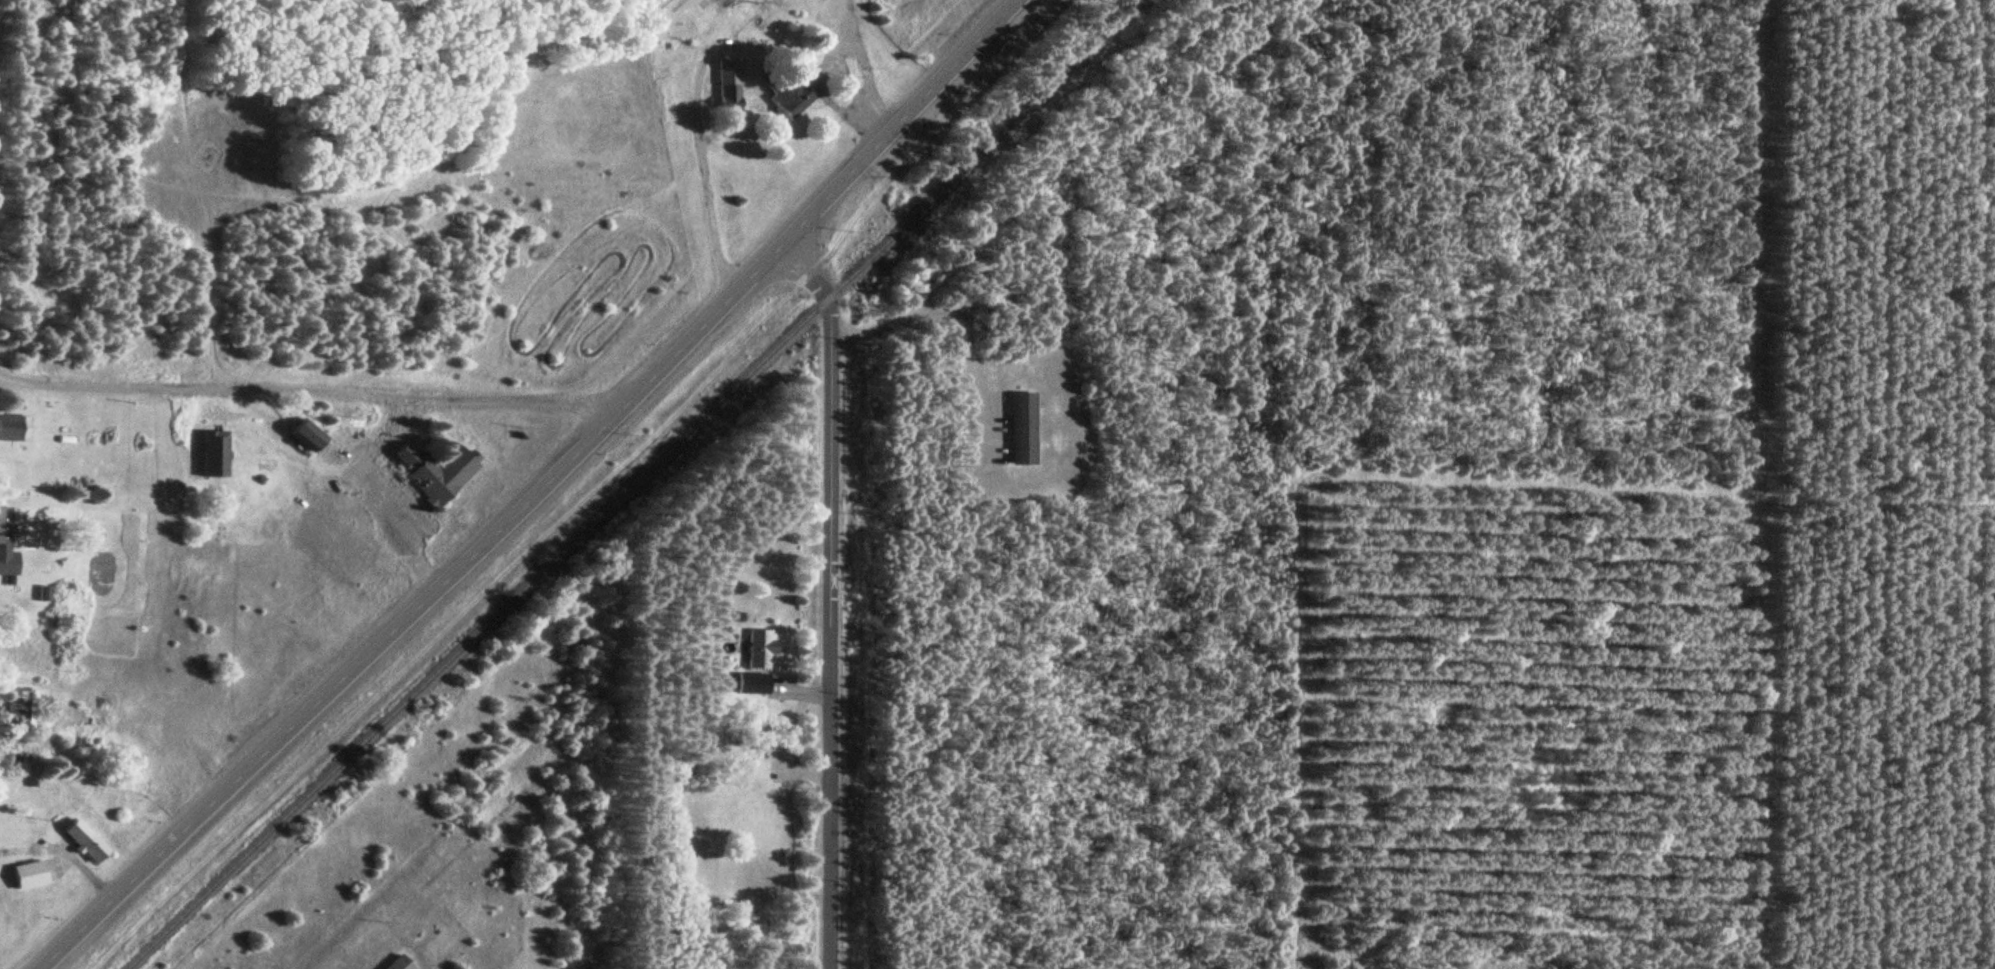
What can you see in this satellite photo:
building: (783, 90)
building: (725, 93)
petroleum well: (204, 155)
road: (958, 330)
road: (311, 394)
road: (211, 407)
building: (11, 427)
building: (1018, 428)
building: (306, 434)
building: (214, 453)
road: (342, 465)
building: (436, 471)
railway: (630, 483)
road: (584, 487)
road: (531, 492)
road: (369, 494)
parking lot: (363, 516)
building: (6, 549)
road: (825, 599)
building: (758, 647)
building: (751, 682)
road: (797, 691)
building: (15, 706)
road: (789, 730)
road: (0, 740)
road: (797, 773)
building: (90, 847)
road: (20, 851)
road: (77, 867)
building: (749, 920)
road: (329, 962)
building: (398, 963)

